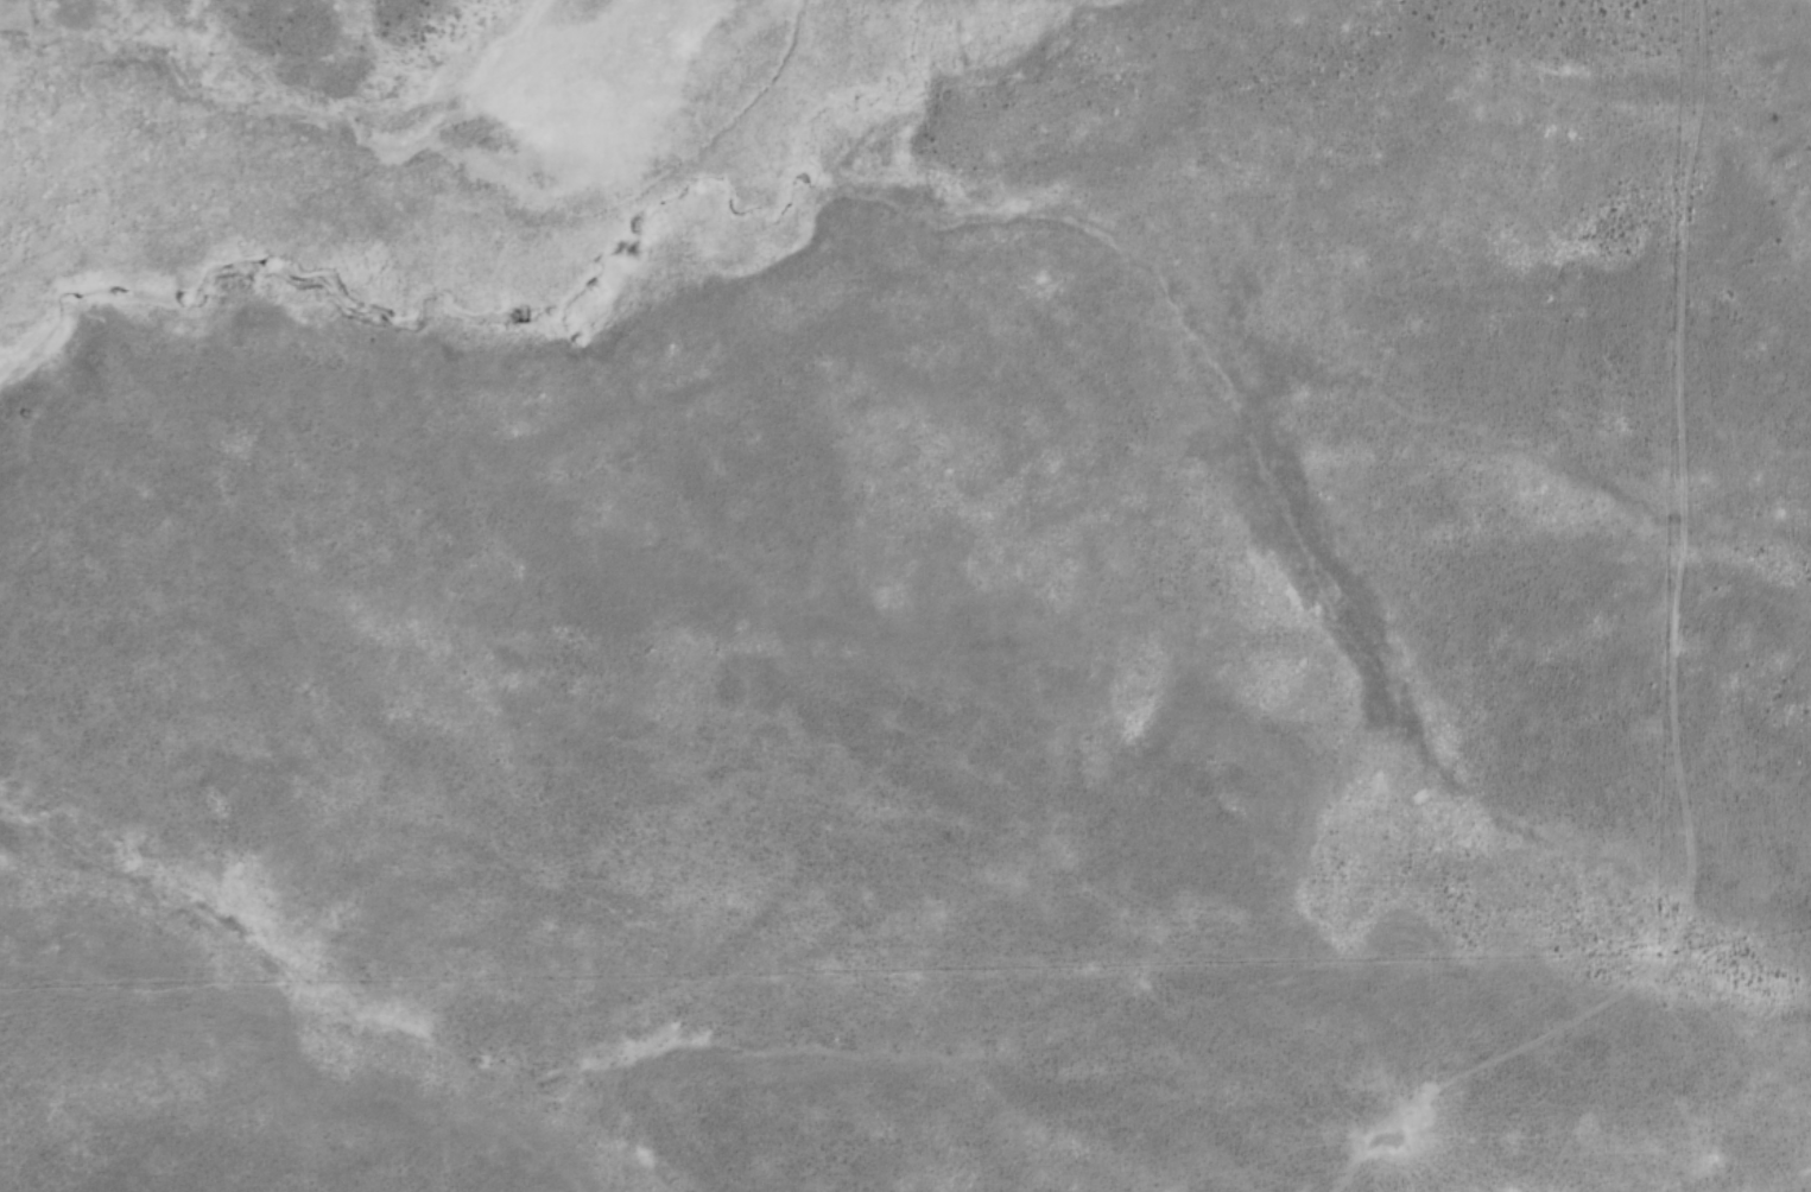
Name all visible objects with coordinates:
road: (1676, 674)

